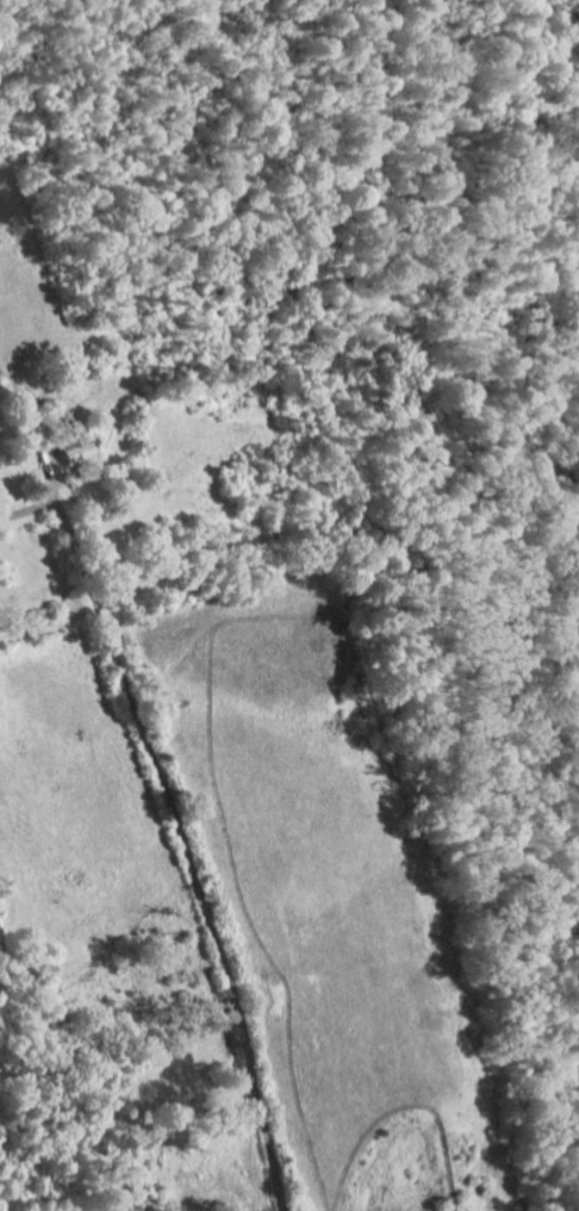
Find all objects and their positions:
building: (73, 441)
road: (176, 827)

